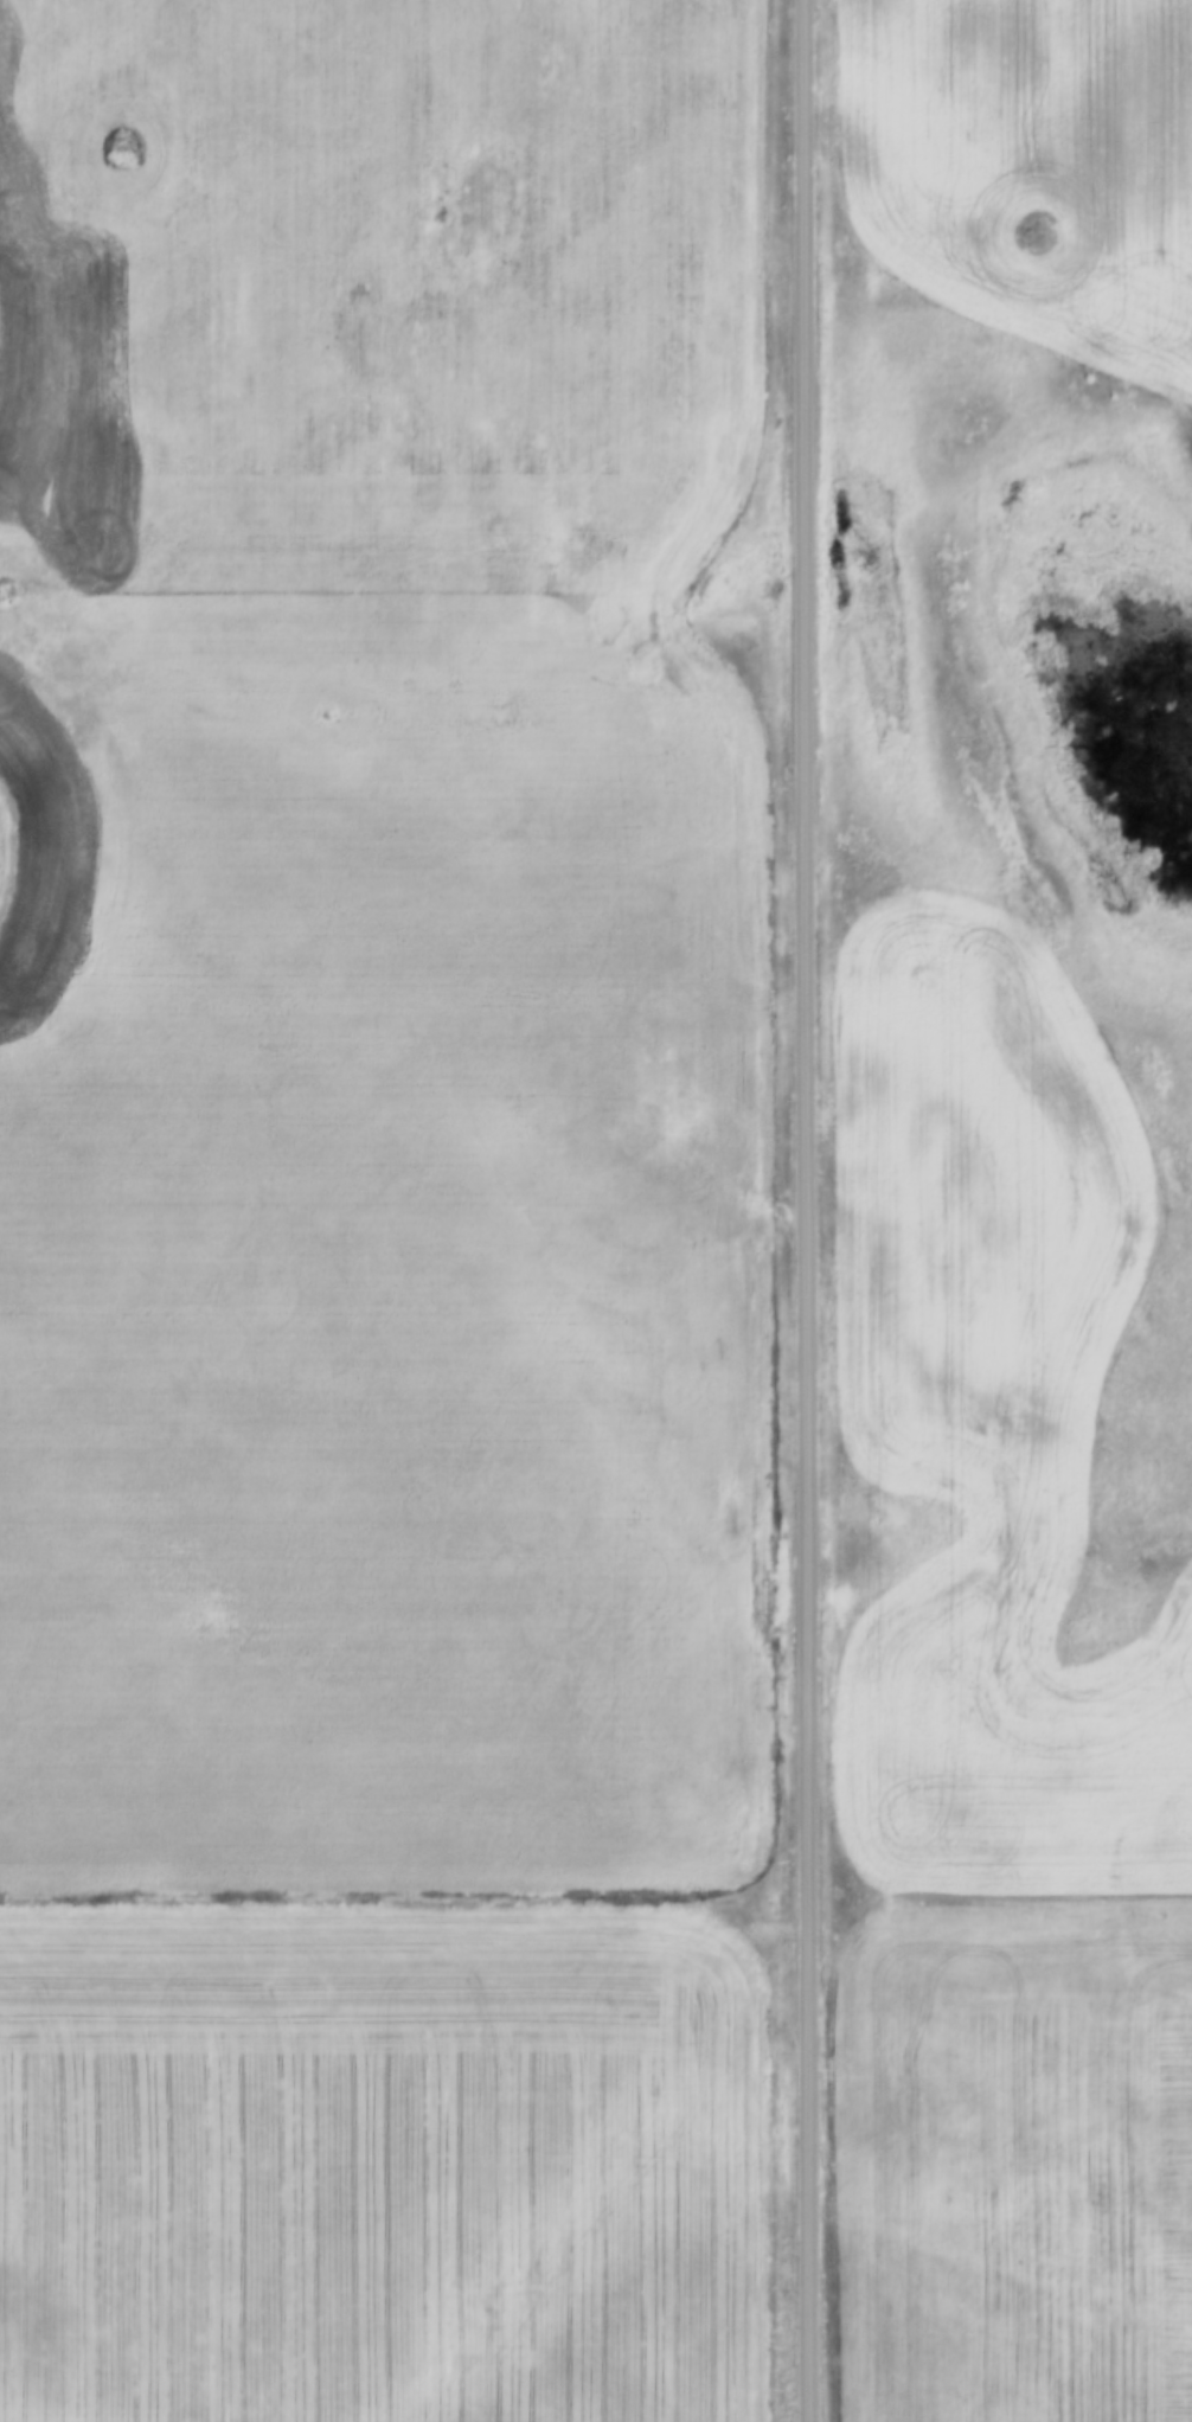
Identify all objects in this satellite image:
road: (805, 1210)

